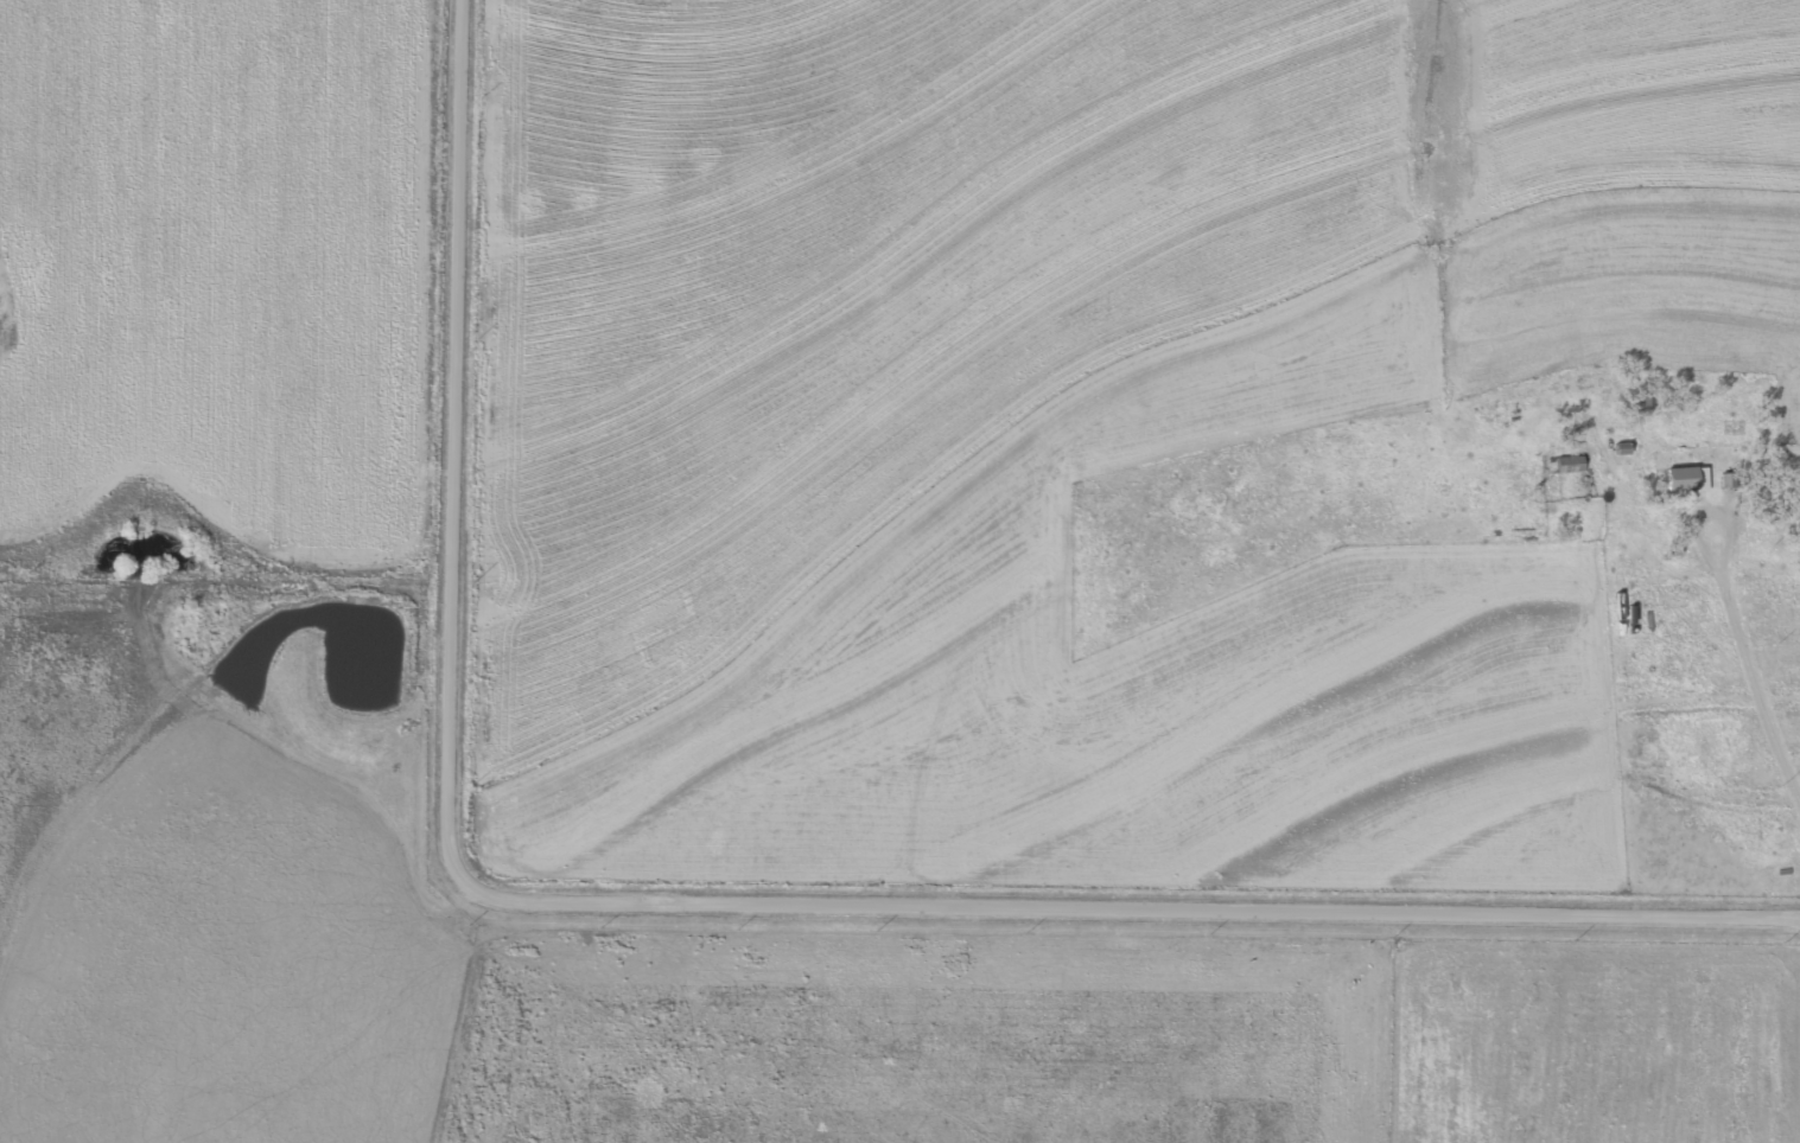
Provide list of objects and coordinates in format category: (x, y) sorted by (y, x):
building: (1690, 478)
road: (1751, 621)
road: (695, 894)

